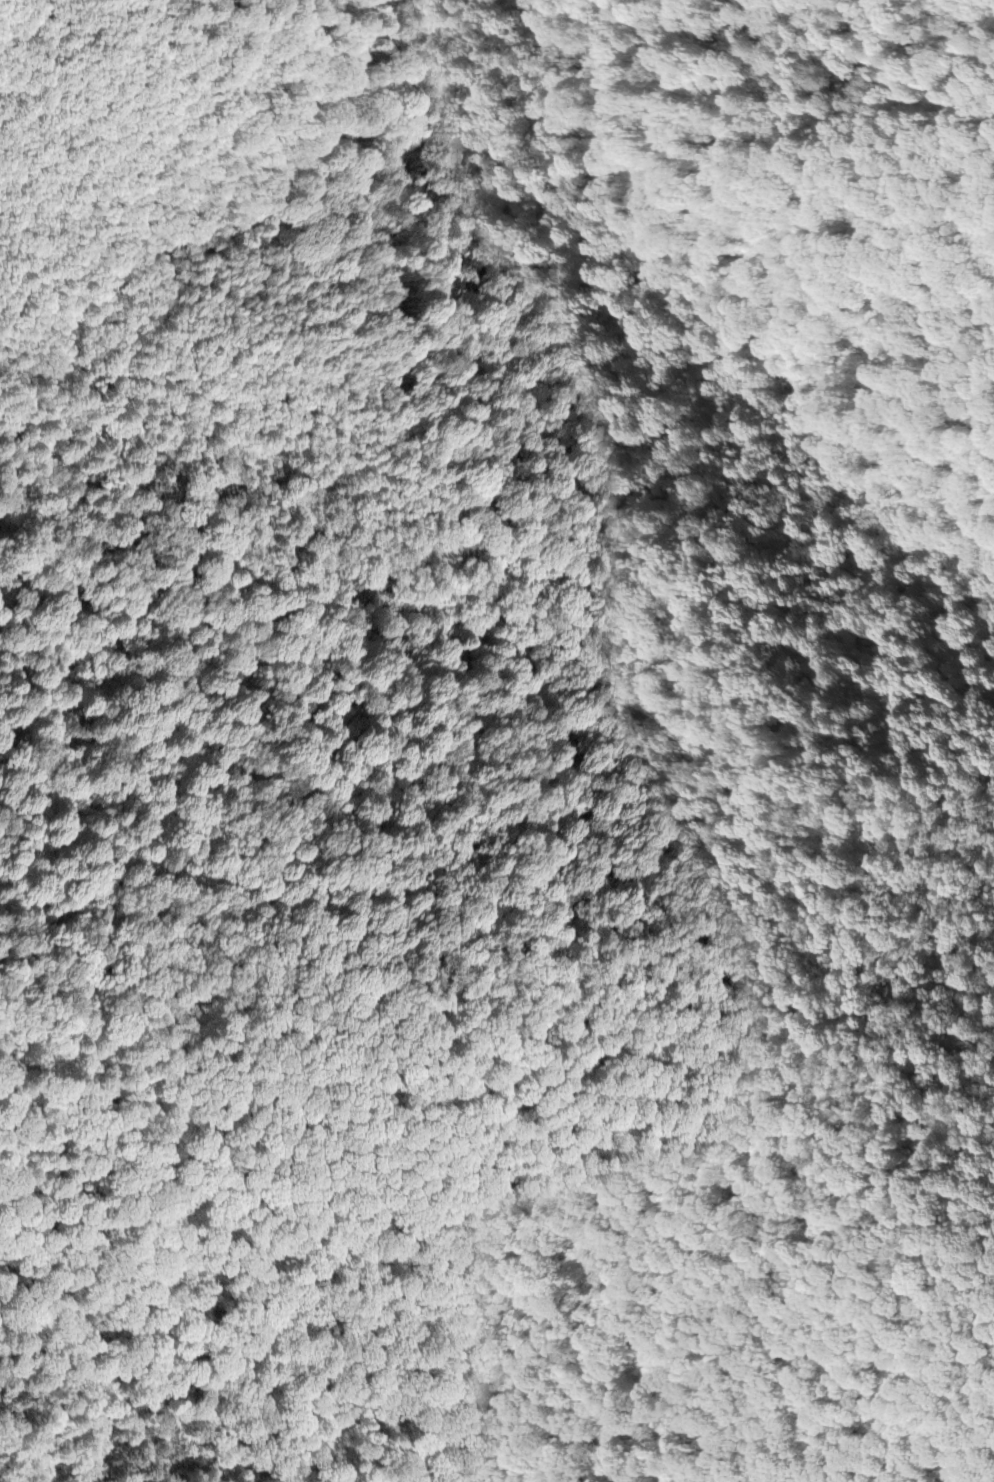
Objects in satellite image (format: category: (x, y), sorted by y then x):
road: (531, 1137)

